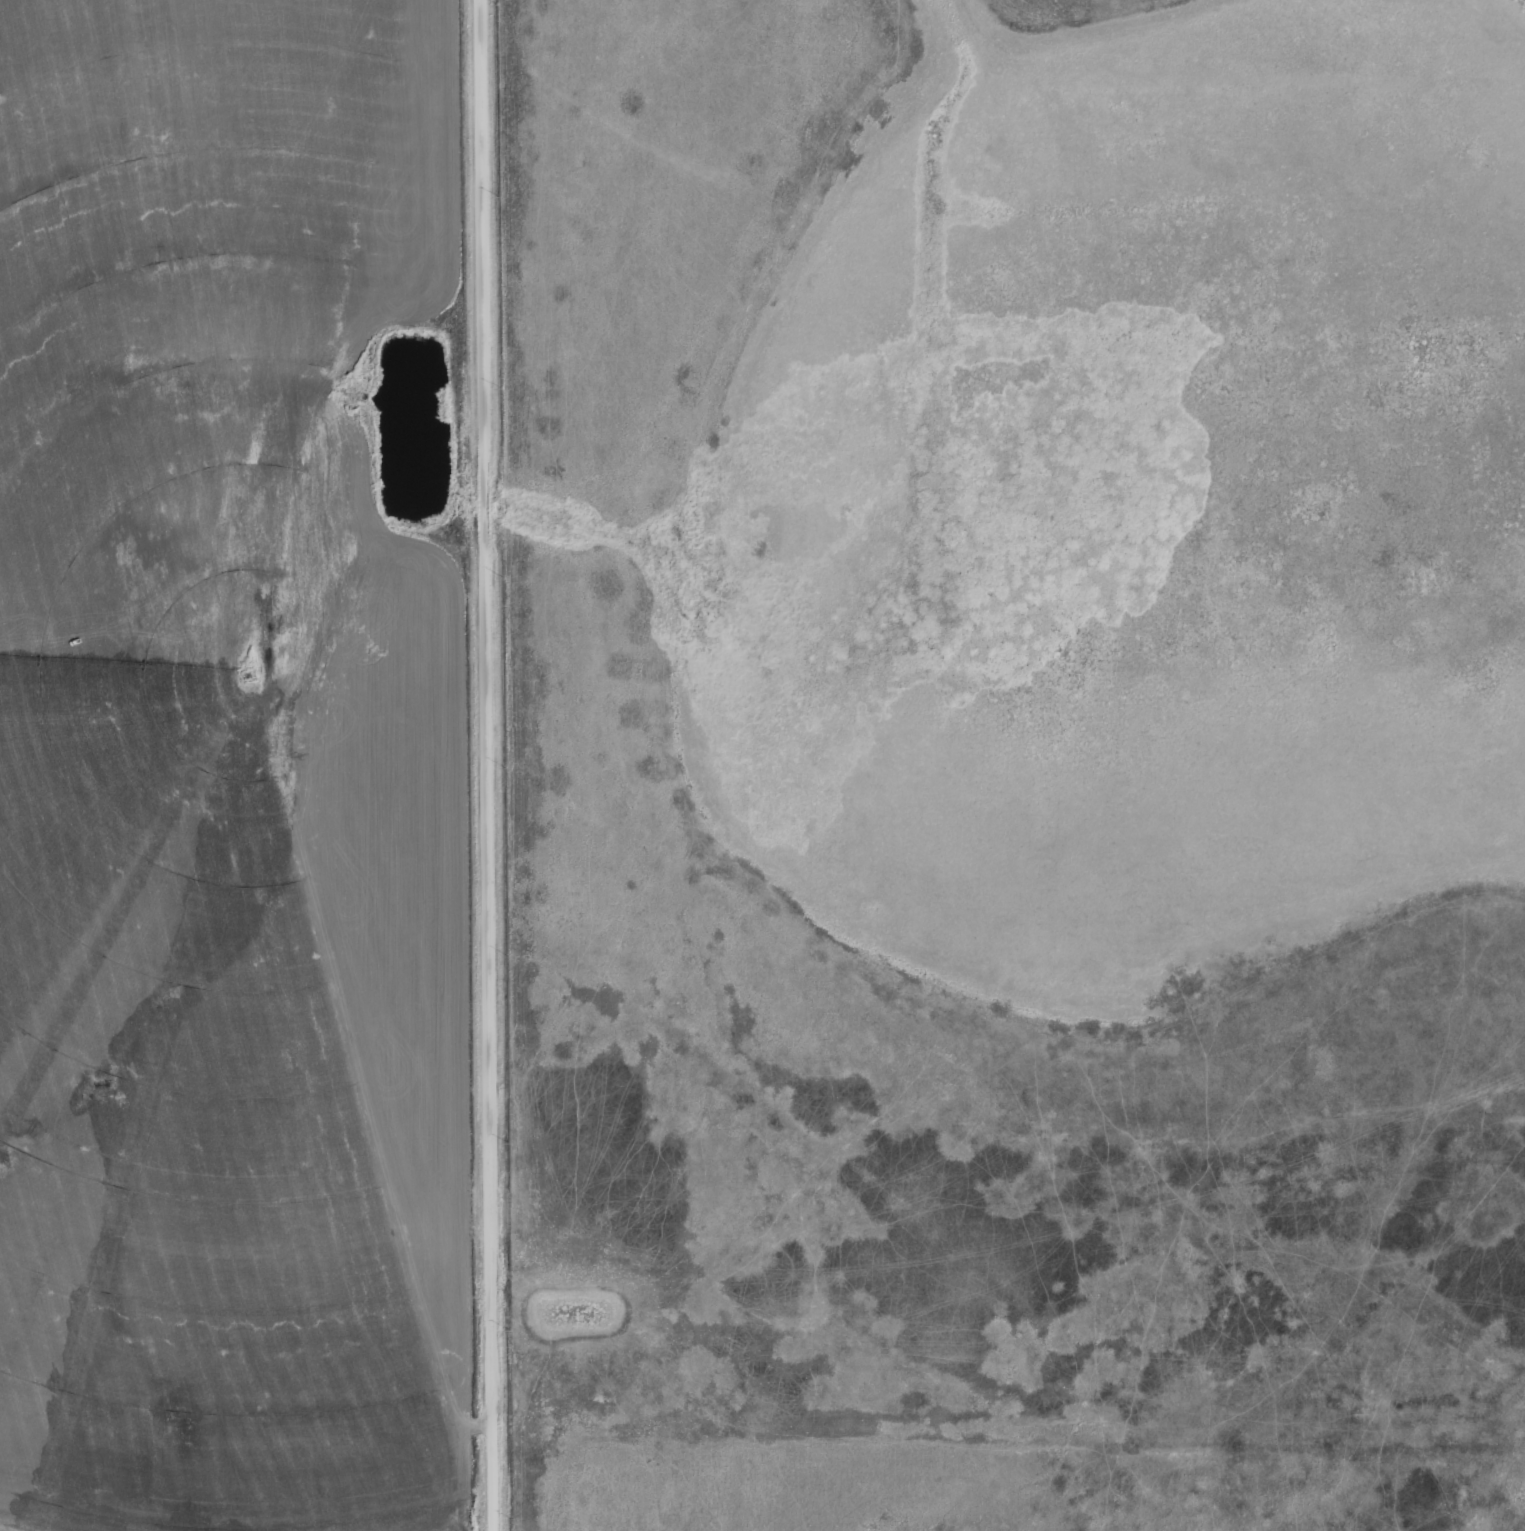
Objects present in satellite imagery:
road: (490, 765)

